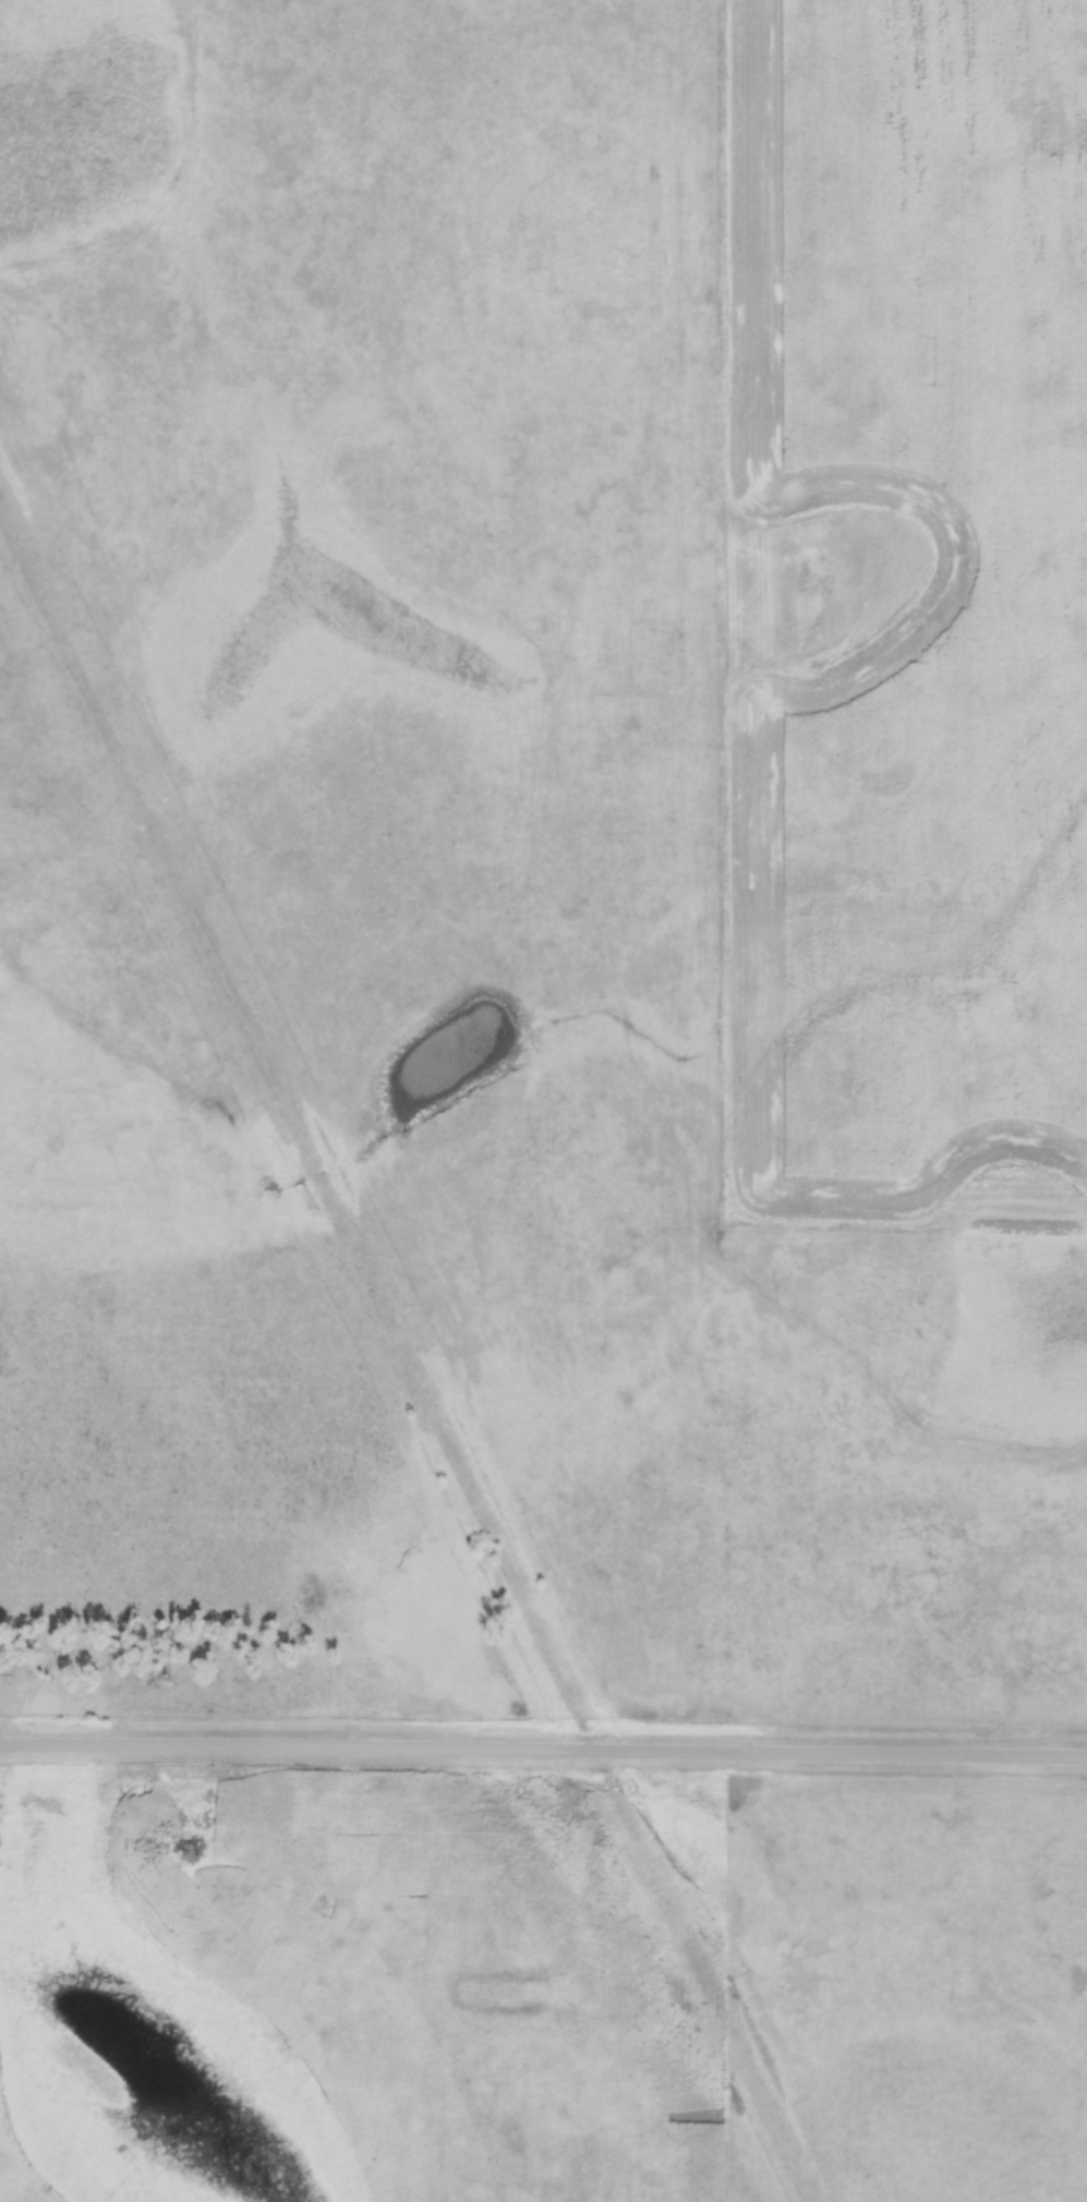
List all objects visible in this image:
road: (543, 1752)

